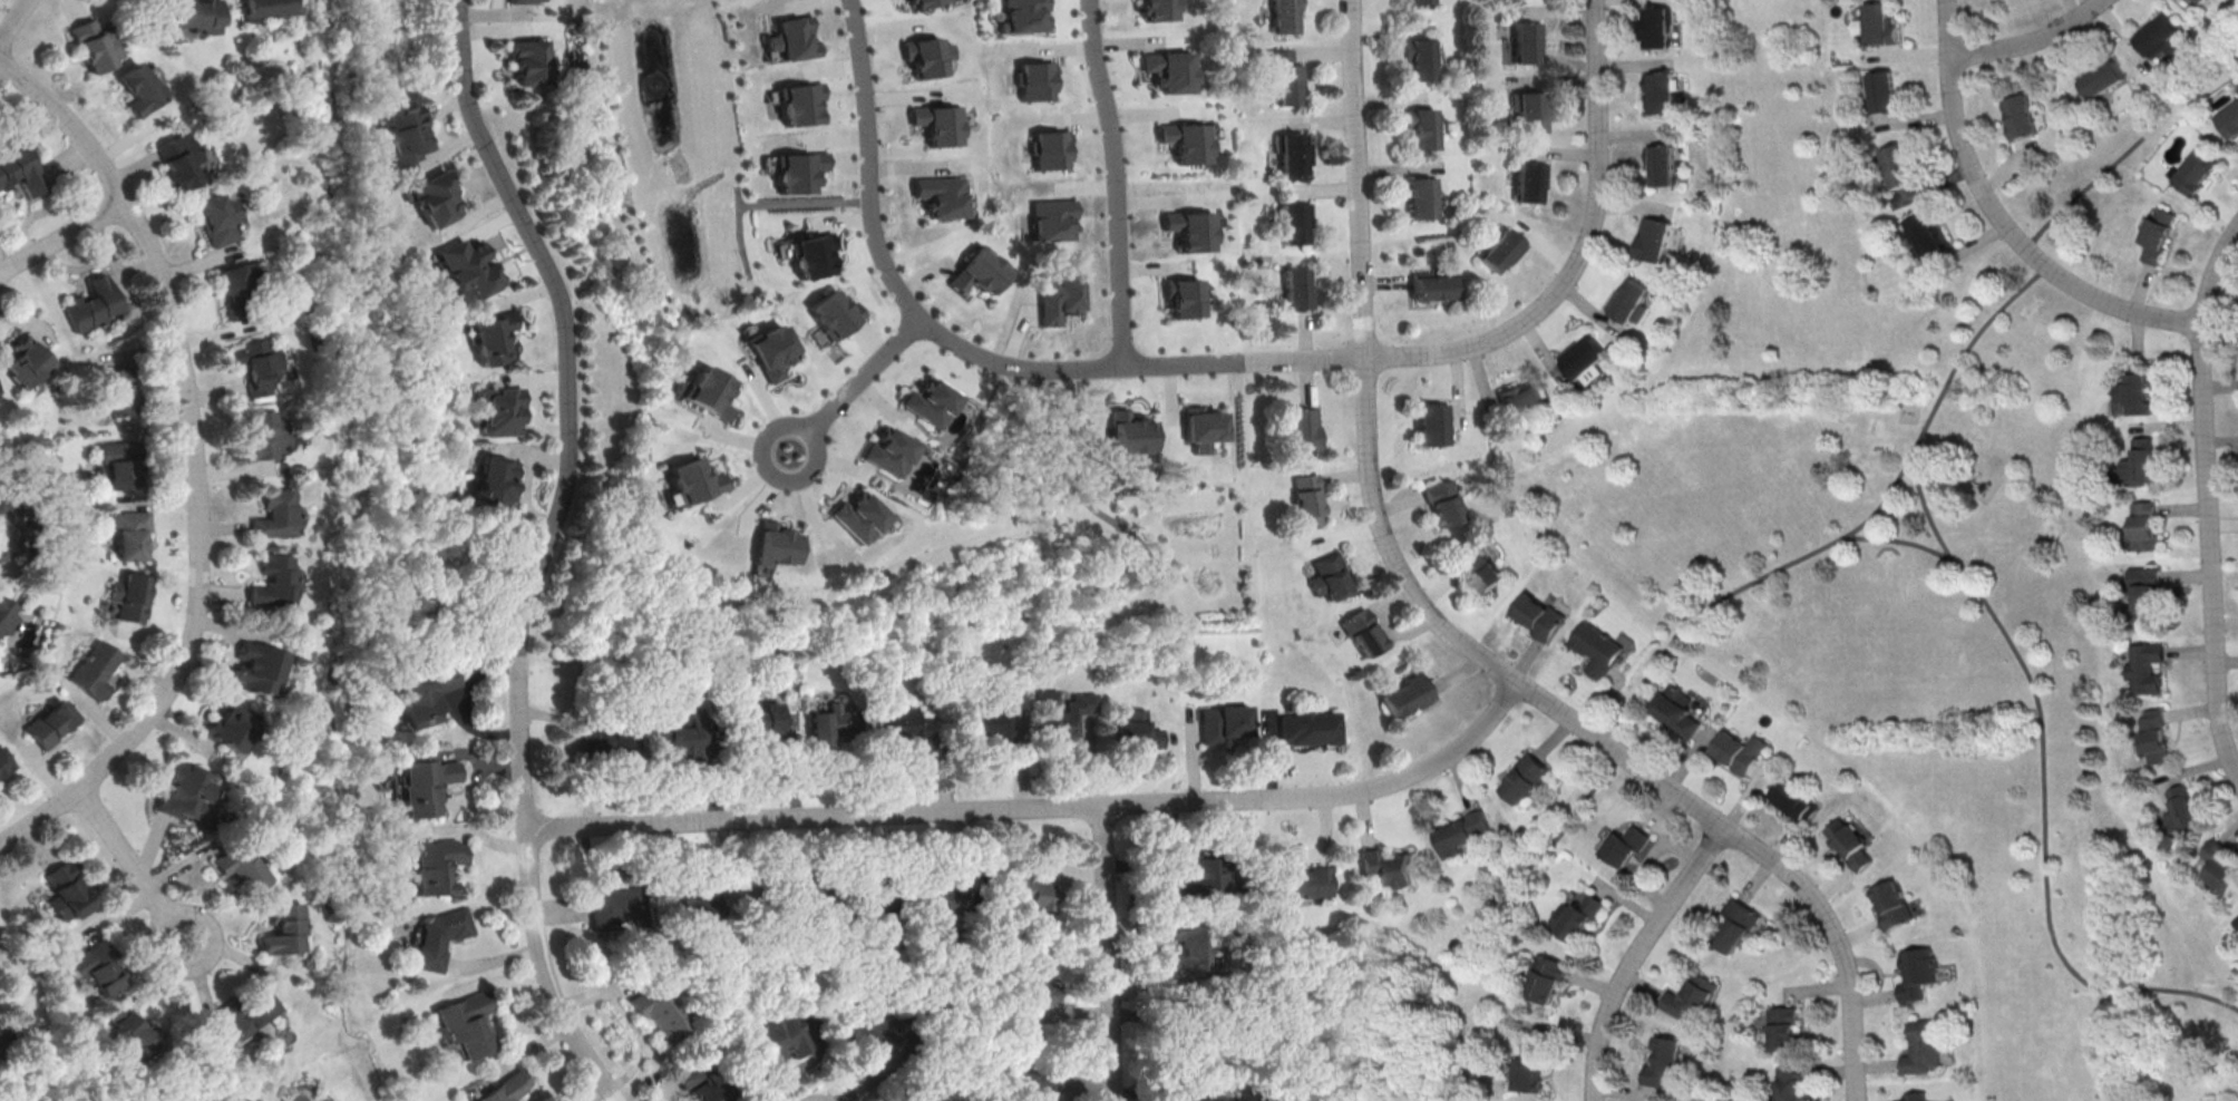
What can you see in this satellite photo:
building: (525, 1)
building: (2205, 1)
building: (922, 2)
building: (1417, 2)
building: (266, 8)
building: (1156, 9)
building: (196, 14)
building: (1023, 16)
building: (1286, 16)
road: (12, 19)
building: (1878, 23)
building: (1655, 26)
building: (2158, 33)
building: (792, 37)
building: (94, 39)
building: (1529, 41)
road: (2030, 41)
building: (925, 55)
building: (1418, 58)
building: (532, 60)
building: (1168, 69)
building: (1287, 75)
building: (2103, 79)
building: (1033, 80)
building: (142, 84)
building: (2237, 86)
building: (1660, 90)
building: (1879, 91)
building: (800, 103)
building: (1528, 111)
building: (2020, 116)
building: (2229, 119)
building: (938, 123)
building: (1421, 127)
building: (406, 134)
building: (1184, 139)
building: (1047, 149)
building: (1294, 153)
building: (181, 155)
building: (1661, 163)
building: (19, 165)
building: (1898, 166)
building: (799, 170)
building: (2197, 170)
road: (1117, 179)
building: (1528, 179)
building: (941, 195)
building: (1421, 196)
building: (435, 198)
building: (220, 213)
building: (1052, 218)
building: (1295, 221)
road: (2001, 221)
building: (1187, 228)
building: (1926, 232)
building: (2158, 233)
road: (64, 236)
building: (1655, 240)
building: (1501, 250)
road: (1580, 251)
building: (814, 254)
building: (467, 269)
road: (889, 269)
building: (977, 271)
building: (240, 282)
building: (1433, 288)
building: (1297, 290)
building: (1057, 295)
building: (1183, 296)
building: (1629, 301)
building: (91, 304)
building: (836, 313)
building: (492, 335)
building: (771, 350)
building: (1586, 358)
road: (1245, 360)
building: (28, 362)
building: (256, 362)
road: (863, 374)
building: (121, 388)
building: (2137, 390)
building: (709, 391)
building: (1521, 400)
building: (930, 401)
building: (497, 411)
building: (1431, 422)
road: (767, 427)
building: (1203, 428)
building: (1304, 428)
building: (262, 431)
building: (1128, 431)
building: (888, 451)
building: (124, 460)
road: (198, 461)
building: (2141, 461)
road: (1904, 465)
building: (692, 480)
building: (495, 483)
building: (1308, 498)
road: (2207, 500)
building: (1443, 501)
road: (1925, 509)
building: (276, 510)
building: (857, 516)
building: (2144, 524)
building: (6, 530)
building: (129, 530)
building: (775, 543)
road: (545, 549)
park: (1905, 557)
building: (1480, 568)
building: (275, 575)
building: (1329, 577)
park: (1889, 582)
building: (2143, 586)
building: (128, 593)
building: (1538, 616)
building: (6, 617)
building: (1363, 631)
road: (1453, 633)
building: (1595, 647)
building: (259, 662)
building: (2144, 668)
building: (91, 669)
building: (421, 694)
building: (1407, 694)
building: (1675, 710)
building: (1062, 713)
building: (989, 719)
building: (763, 721)
building: (1225, 721)
building: (232, 722)
building: (830, 722)
building: (901, 722)
building: (50, 723)
building: (1310, 727)
building: (1137, 730)
building: (683, 732)
building: (2153, 734)
building: (615, 741)
building: (1740, 751)
building: (4, 761)
building: (1531, 779)
building: (425, 785)
building: (186, 787)
road: (2043, 787)
building: (1792, 798)
road: (1042, 807)
building: (2181, 810)
building: (1463, 832)
building: (1849, 842)
building: (1627, 844)
building: (242, 863)
building: (436, 864)
road: (135, 866)
building: (1388, 866)
building: (2218, 867)
building: (1307, 878)
building: (1033, 880)
building: (1200, 881)
building: (794, 888)
building: (68, 890)
building: (942, 896)
building: (697, 900)
building: (621, 904)
building: (1892, 904)
building: (872, 906)
building: (1577, 915)
building: (1740, 920)
building: (2235, 920)
building: (284, 925)
building: (435, 937)
building: (1190, 947)
road: (1110, 953)
road: (1636, 955)
building: (97, 965)
building: (1917, 972)
building: (1545, 976)
building: (1032, 978)
building: (1692, 997)
building: (246, 1007)
building: (658, 1011)
building: (466, 1023)
building: (1787, 1026)
building: (6, 1027)
building: (868, 1029)
building: (134, 1030)
building: (779, 1030)
building: (1924, 1045)
building: (1666, 1063)
building: (1529, 1066)
building: (1033, 1068)
building: (688, 1075)
building: (1792, 1083)
building: (502, 1088)
building: (914, 1091)
building: (1203, 1095)
building: (1916, 1095)

